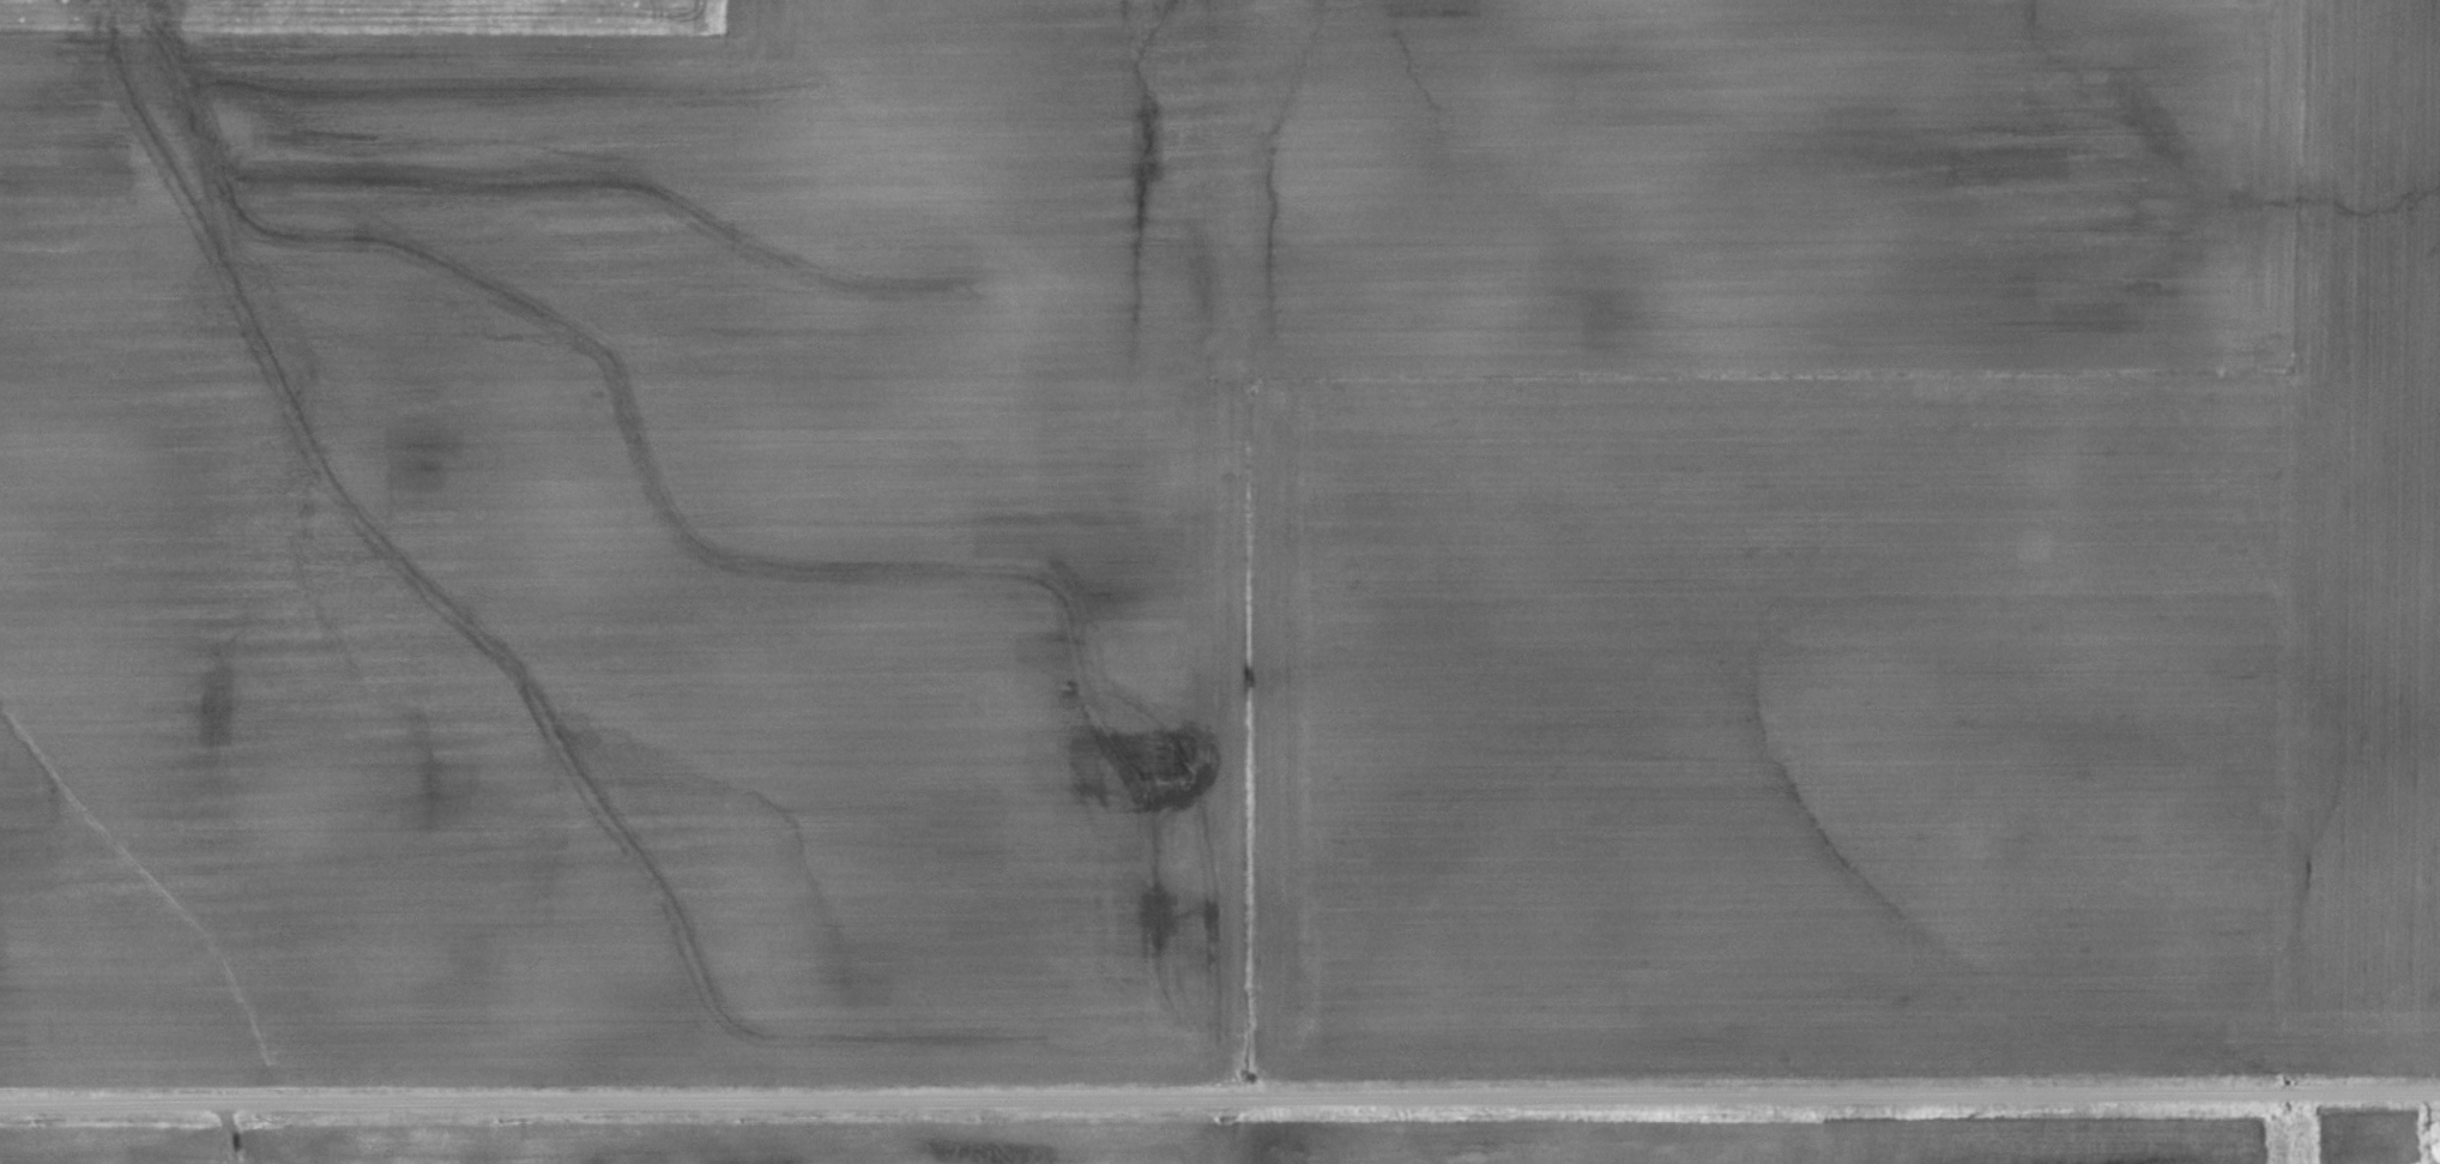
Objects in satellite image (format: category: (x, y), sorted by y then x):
road: (1220, 1097)

